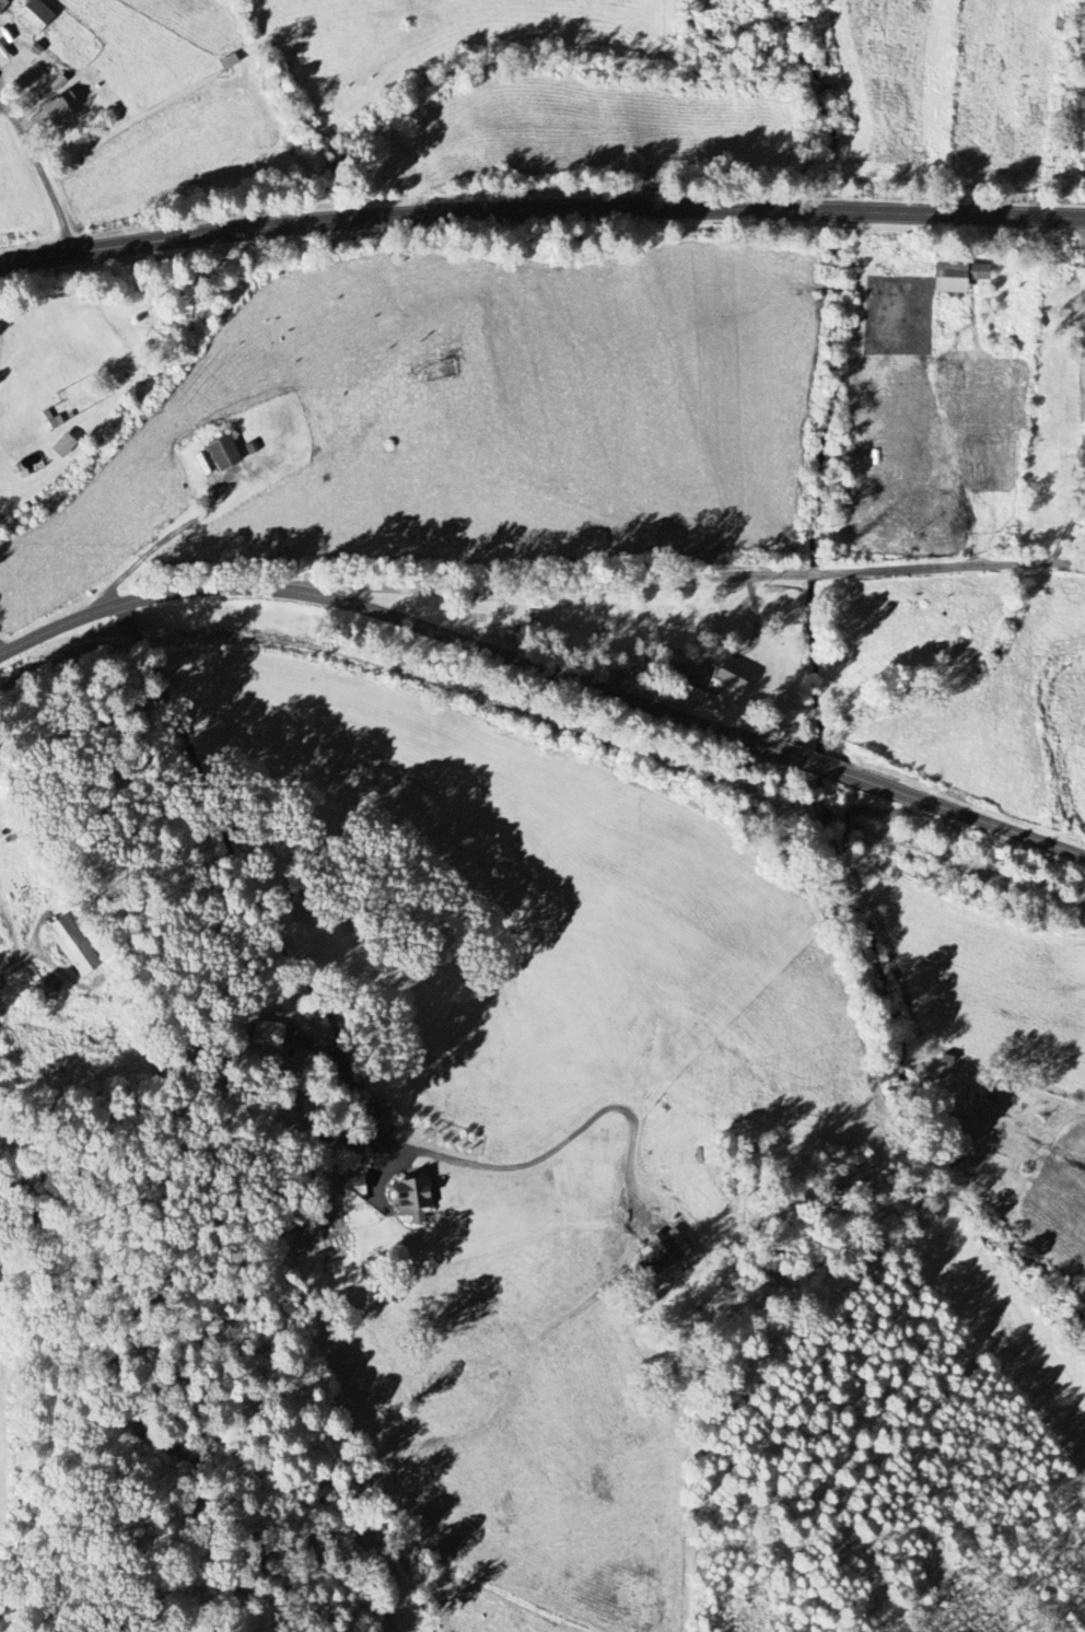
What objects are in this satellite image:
building: (3, 4)
building: (34, 16)
building: (55, 110)
road: (40, 171)
road: (540, 214)
building: (957, 276)
building: (62, 445)
building: (222, 454)
road: (691, 581)
road: (398, 619)
road: (702, 663)
building: (723, 688)
railway: (546, 721)
road: (824, 766)
road: (969, 816)
road: (223, 866)
building: (72, 946)
building: (52, 983)
building: (999, 1093)
building: (409, 1198)
building: (664, 1251)

